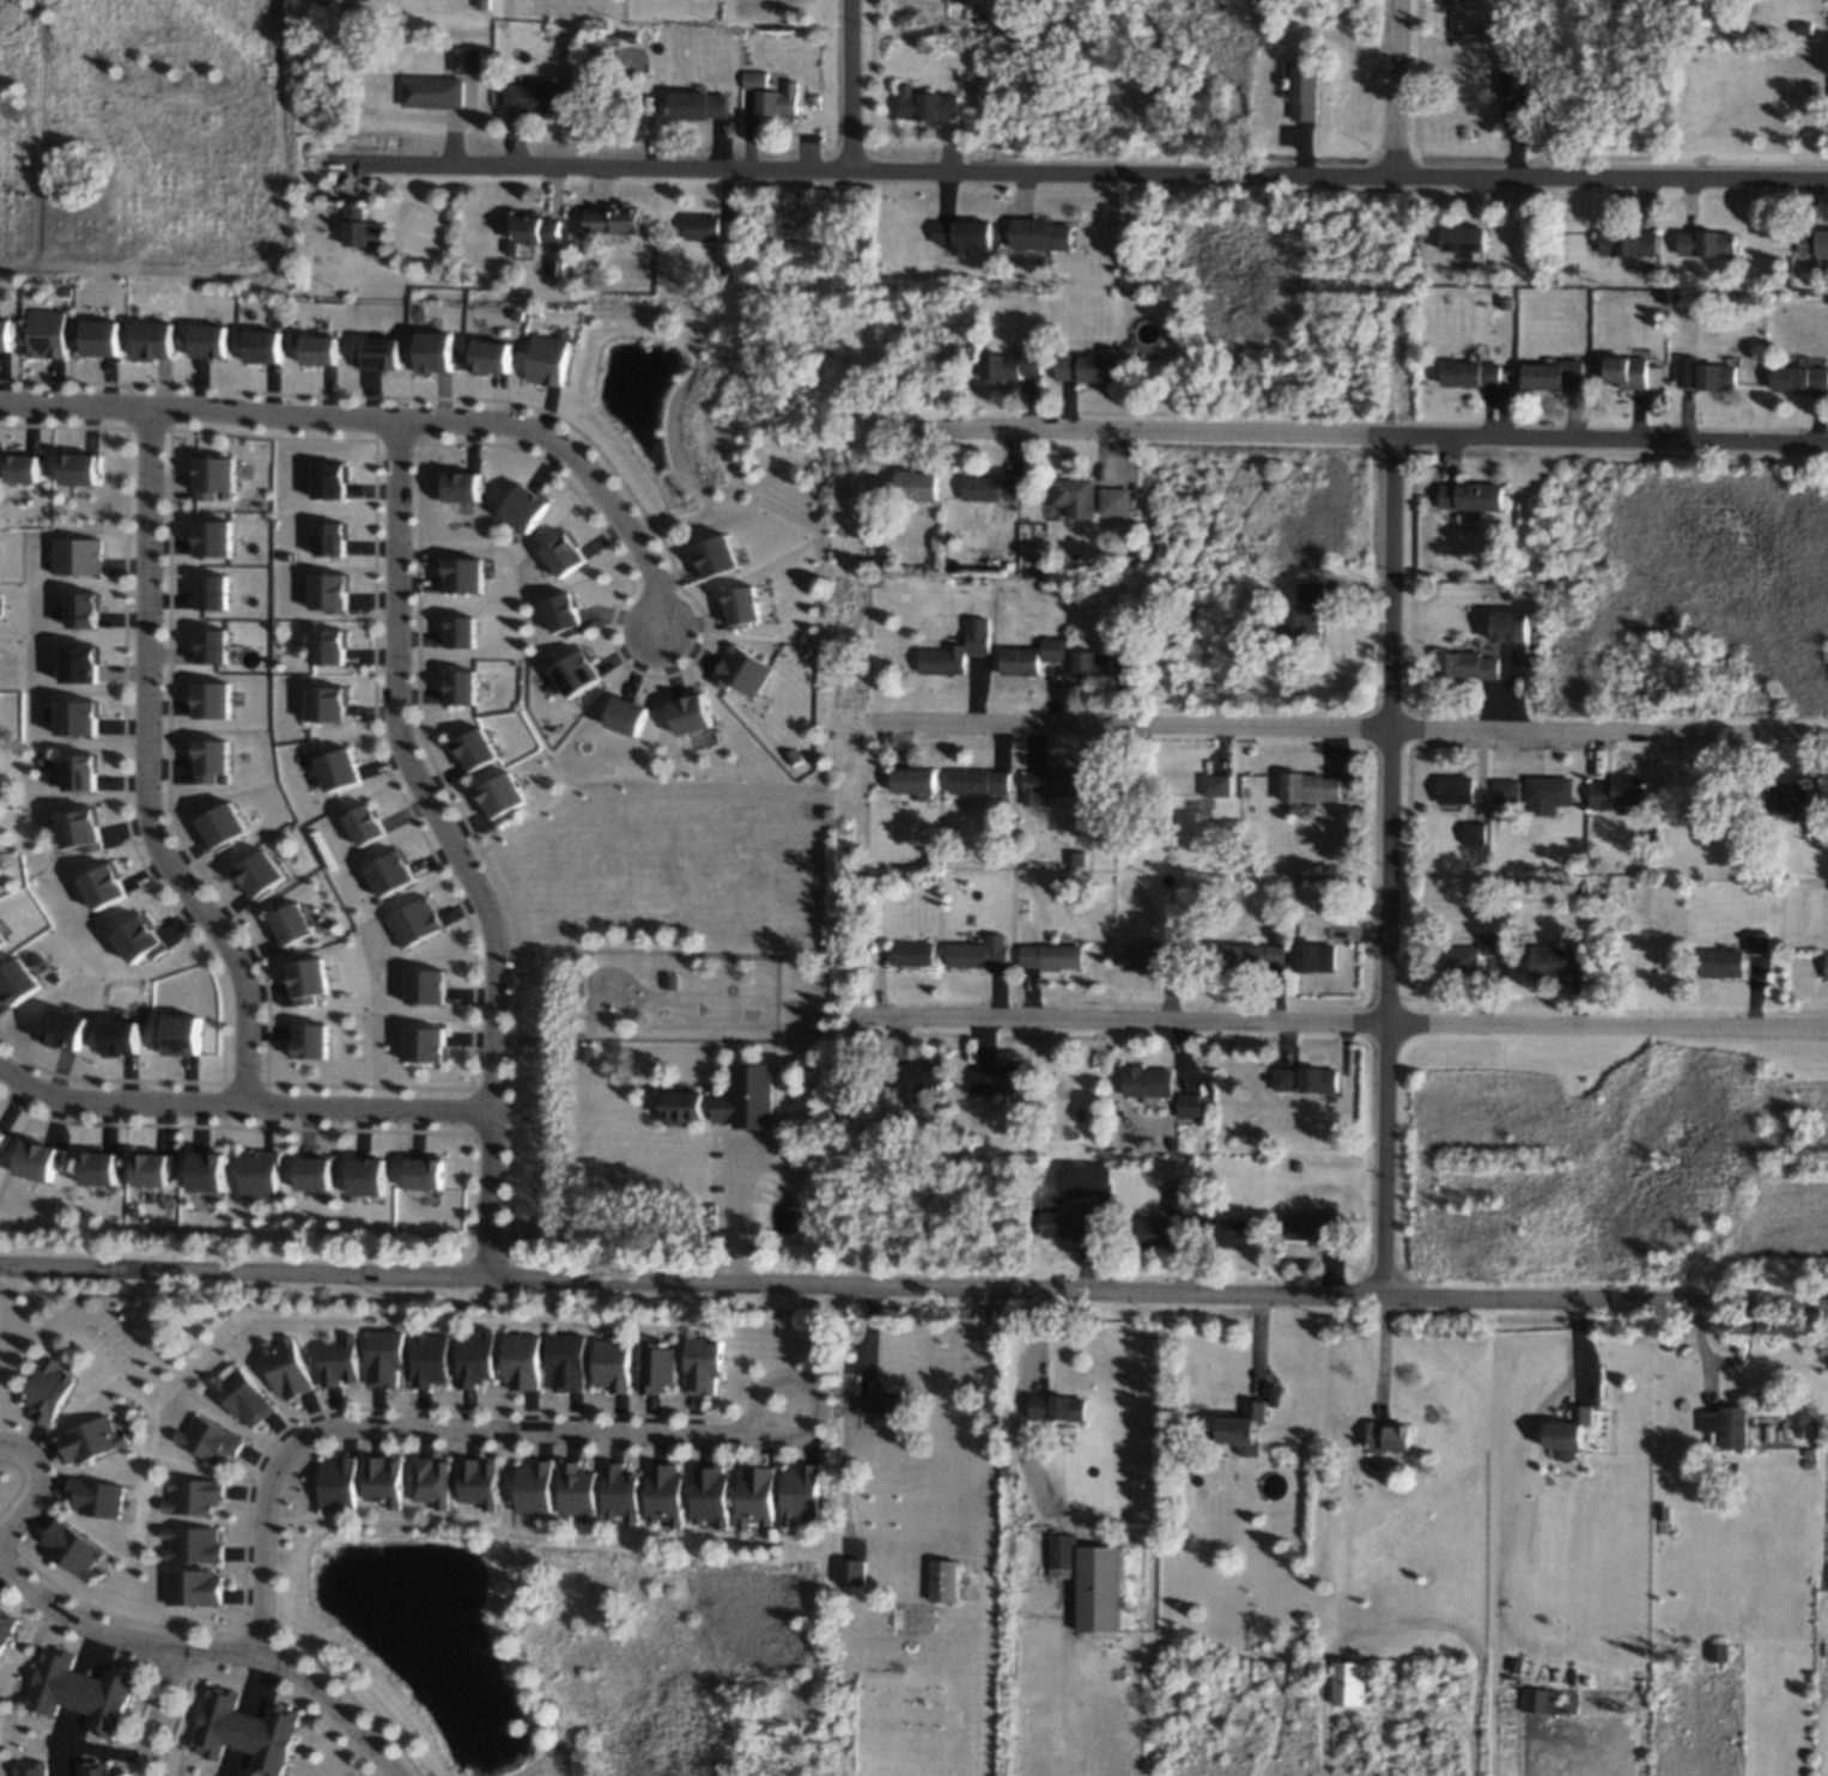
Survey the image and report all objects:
building: (1457, 1)
building: (466, 59)
building: (754, 79)
road: (851, 84)
road: (1399, 87)
building: (1300, 90)
building: (1516, 92)
building: (432, 93)
building: (532, 97)
building: (777, 103)
building: (692, 107)
building: (928, 111)
crop: (151, 112)
road: (1080, 170)
building: (609, 219)
building: (360, 229)
building: (539, 229)
building: (703, 229)
building: (961, 237)
building: (1036, 238)
building: (1462, 242)
building: (1627, 242)
building: (1707, 244)
building: (1815, 244)
building: (54, 334)
building: (10, 335)
building: (109, 337)
building: (160, 337)
building: (215, 340)
building: (268, 348)
building: (322, 348)
building: (441, 349)
building: (381, 351)
building: (499, 355)
building: (554, 360)
building: (1010, 363)
building: (1088, 367)
building: (1634, 376)
building: (1703, 376)
building: (1470, 377)
building: (1553, 377)
building: (1802, 381)
road: (393, 420)
road: (1354, 433)
building: (84, 466)
building: (28, 468)
building: (223, 474)
building: (335, 479)
building: (916, 485)
building: (464, 487)
building: (989, 491)
building: (1081, 495)
building: (1468, 495)
building: (1115, 500)
building: (532, 506)
building: (335, 535)
building: (221, 536)
building: (721, 553)
building: (569, 554)
building: (85, 556)
building: (469, 574)
building: (333, 589)
building: (217, 592)
building: (755, 604)
building: (84, 608)
building: (566, 614)
building: (1306, 615)
building: (1508, 625)
building: (463, 628)
building: (977, 635)
building: (330, 644)
building: (218, 645)
building: (1053, 647)
building: (949, 656)
building: (1028, 661)
building: (1097, 662)
building: (85, 664)
building: (1466, 667)
building: (747, 669)
building: (584, 671)
building: (467, 689)
building: (217, 698)
building: (330, 700)
building: (694, 712)
building: (632, 714)
building: (84, 718)
road: (1360, 728)
building: (479, 747)
building: (218, 759)
building: (341, 768)
road: (148, 771)
building: (85, 772)
building: (978, 784)
building: (911, 785)
building: (1046, 785)
building: (1215, 789)
building: (1310, 790)
building: (1454, 790)
building: (1505, 790)
building: (1617, 792)
building: (1549, 793)
building: (508, 795)
building: (1787, 795)
building: (226, 825)
building: (369, 825)
building: (87, 829)
building: (1474, 832)
road: (456, 847)
road: (1390, 865)
building: (394, 871)
building: (263, 874)
building: (110, 886)
building: (296, 923)
building: (419, 924)
building: (142, 938)
building: (4, 941)
building: (1490, 942)
building: (1757, 942)
building: (980, 954)
building: (911, 955)
building: (1049, 956)
building: (1150, 957)
building: (1250, 957)
building: (1319, 960)
building: (1466, 960)
building: (1723, 962)
building: (1562, 963)
building: (1827, 965)
building: (314, 979)
building: (22, 980)
building: (429, 986)
road: (1341, 1023)
building: (68, 1027)
building: (187, 1032)
building: (122, 1036)
building: (315, 1040)
building: (429, 1044)
building: (915, 1077)
building: (1002, 1078)
building: (1308, 1079)
building: (1147, 1082)
building: (752, 1095)
crop: (1494, 1103)
building: (1190, 1105)
building: (693, 1106)
road: (241, 1109)
building: (4, 1137)
building: (43, 1158)
building: (104, 1169)
building: (154, 1169)
building: (209, 1169)
building: (261, 1173)
building: (317, 1174)
building: (374, 1175)
building: (427, 1175)
building: (1178, 1199)
road: (740, 1210)
crop: (1783, 1221)
building: (1069, 1223)
building: (1314, 1229)
building: (1225, 1230)
building: (1154, 1231)
road: (692, 1284)
road: (1607, 1300)
building: (389, 1358)
building: (431, 1358)
building: (473, 1360)
building: (344, 1362)
building: (565, 1362)
building: (291, 1363)
building: (613, 1363)
building: (522, 1364)
building: (703, 1366)
building: (657, 1367)
building: (53, 1391)
building: (244, 1392)
building: (1058, 1409)
building: (881, 1410)
road: (510, 1430)
building: (1241, 1430)
building: (1725, 1430)
building: (1569, 1434)
building: (1779, 1434)
building: (95, 1439)
building: (1387, 1439)
building: (214, 1440)
building: (391, 1479)
building: (437, 1480)
building: (342, 1482)
building: (482, 1483)
road: (43, 1485)
building: (536, 1486)
building: (620, 1490)
building: (577, 1491)
building: (664, 1491)
building: (711, 1491)
building: (802, 1492)
building: (754, 1495)
building: (102, 1496)
building: (198, 1496)
building: (199, 1544)
building: (78, 1546)
building: (1061, 1555)
building: (851, 1571)
building: (942, 1580)
building: (200, 1587)
building: (1099, 1588)
building: (8, 1628)
road: (209, 1650)
building: (1348, 1683)
building: (84, 1692)
building: (1537, 1699)
road: (160, 1710)
building: (247, 1731)
crop: (1577, 1745)
road: (104, 1748)
building: (34, 1769)
building: (98, 1770)

